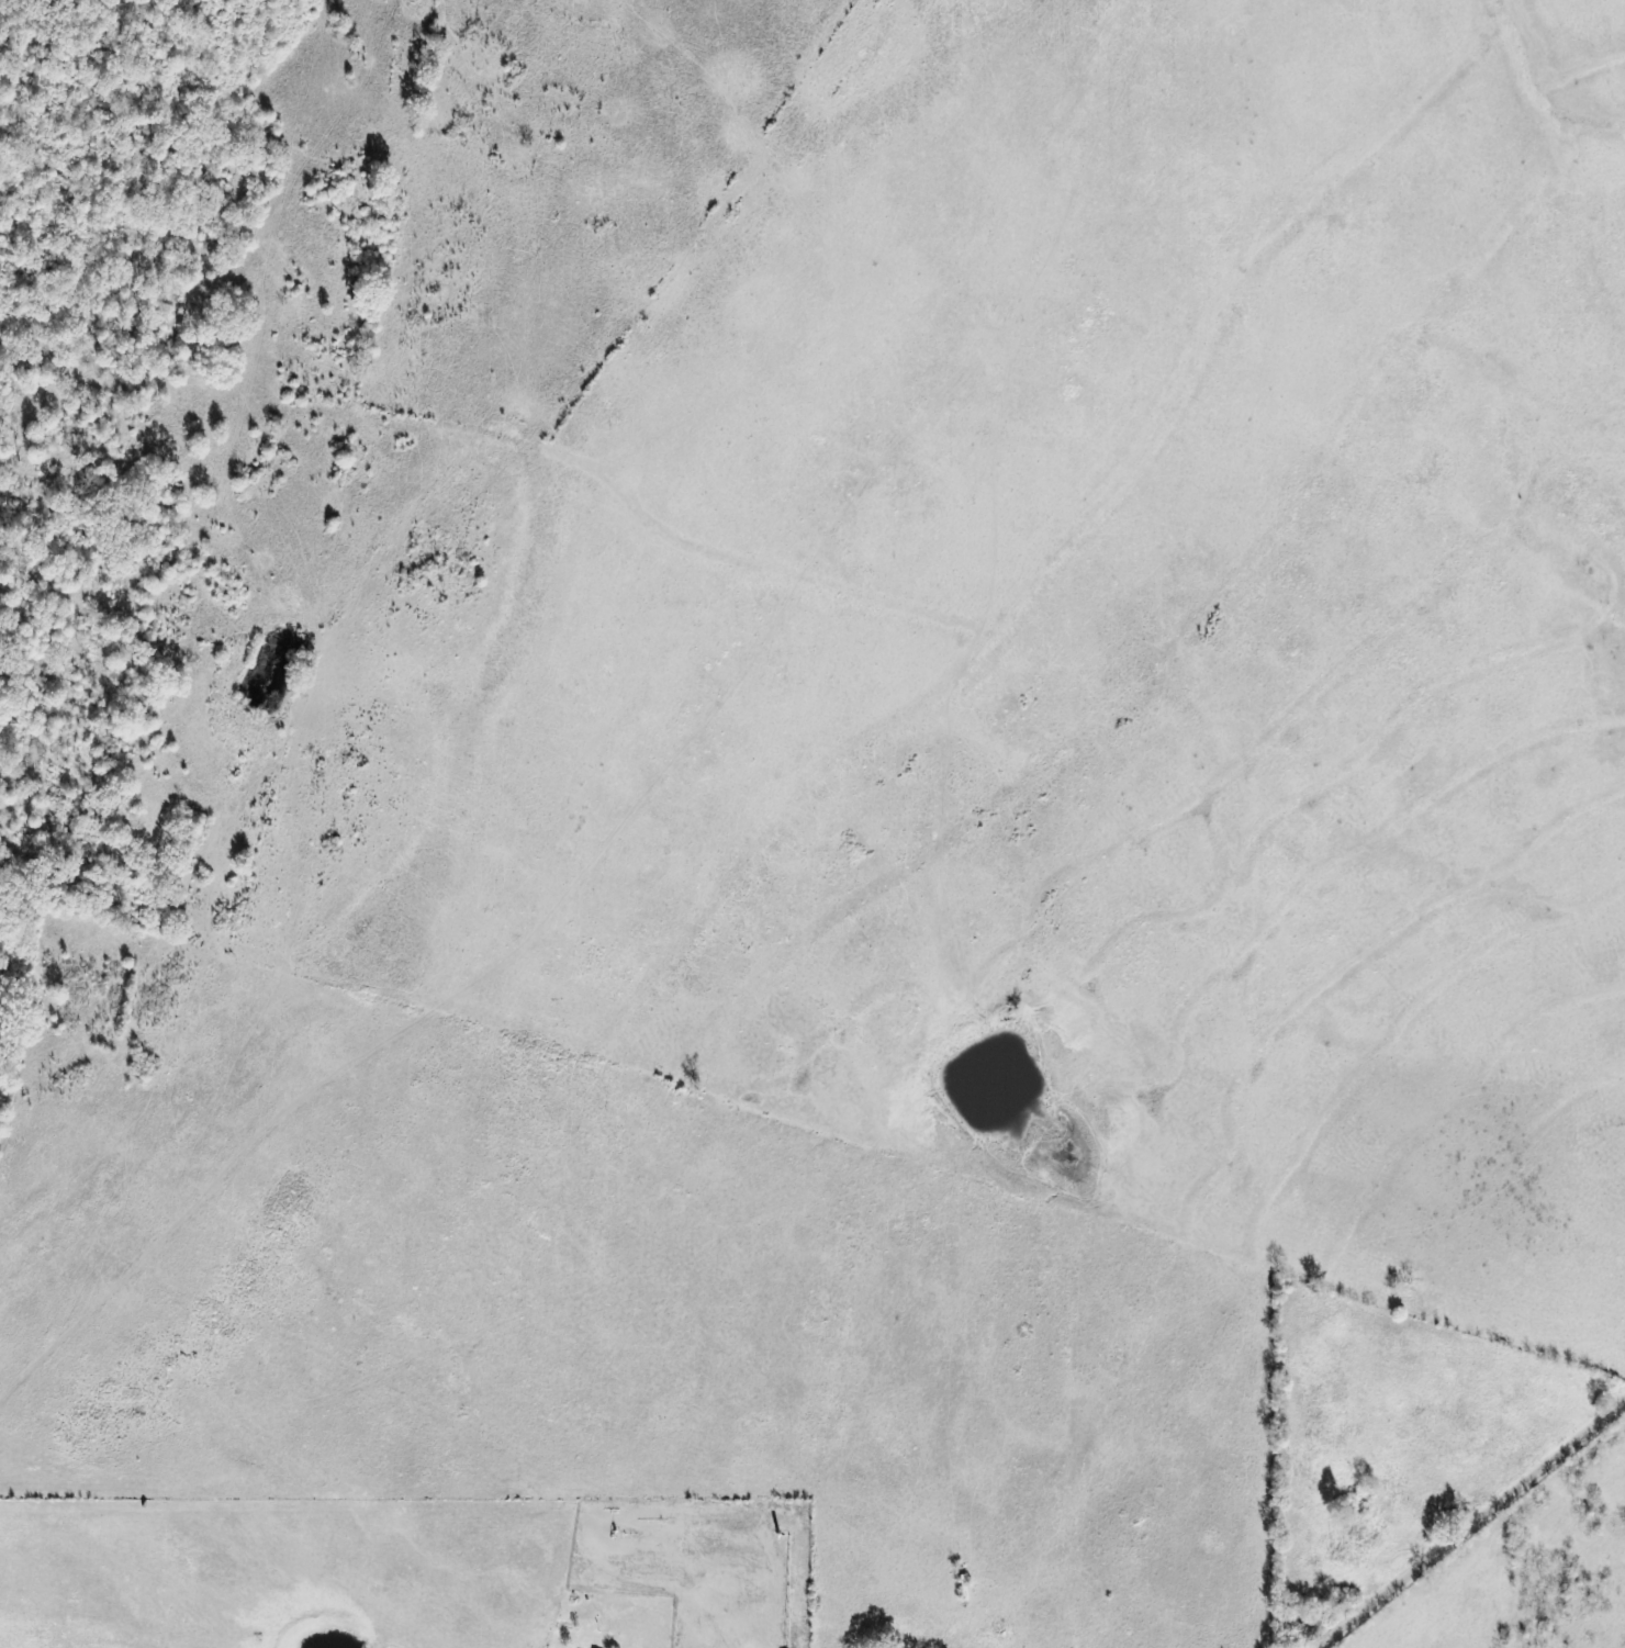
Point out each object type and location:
road: (1478, 1529)

